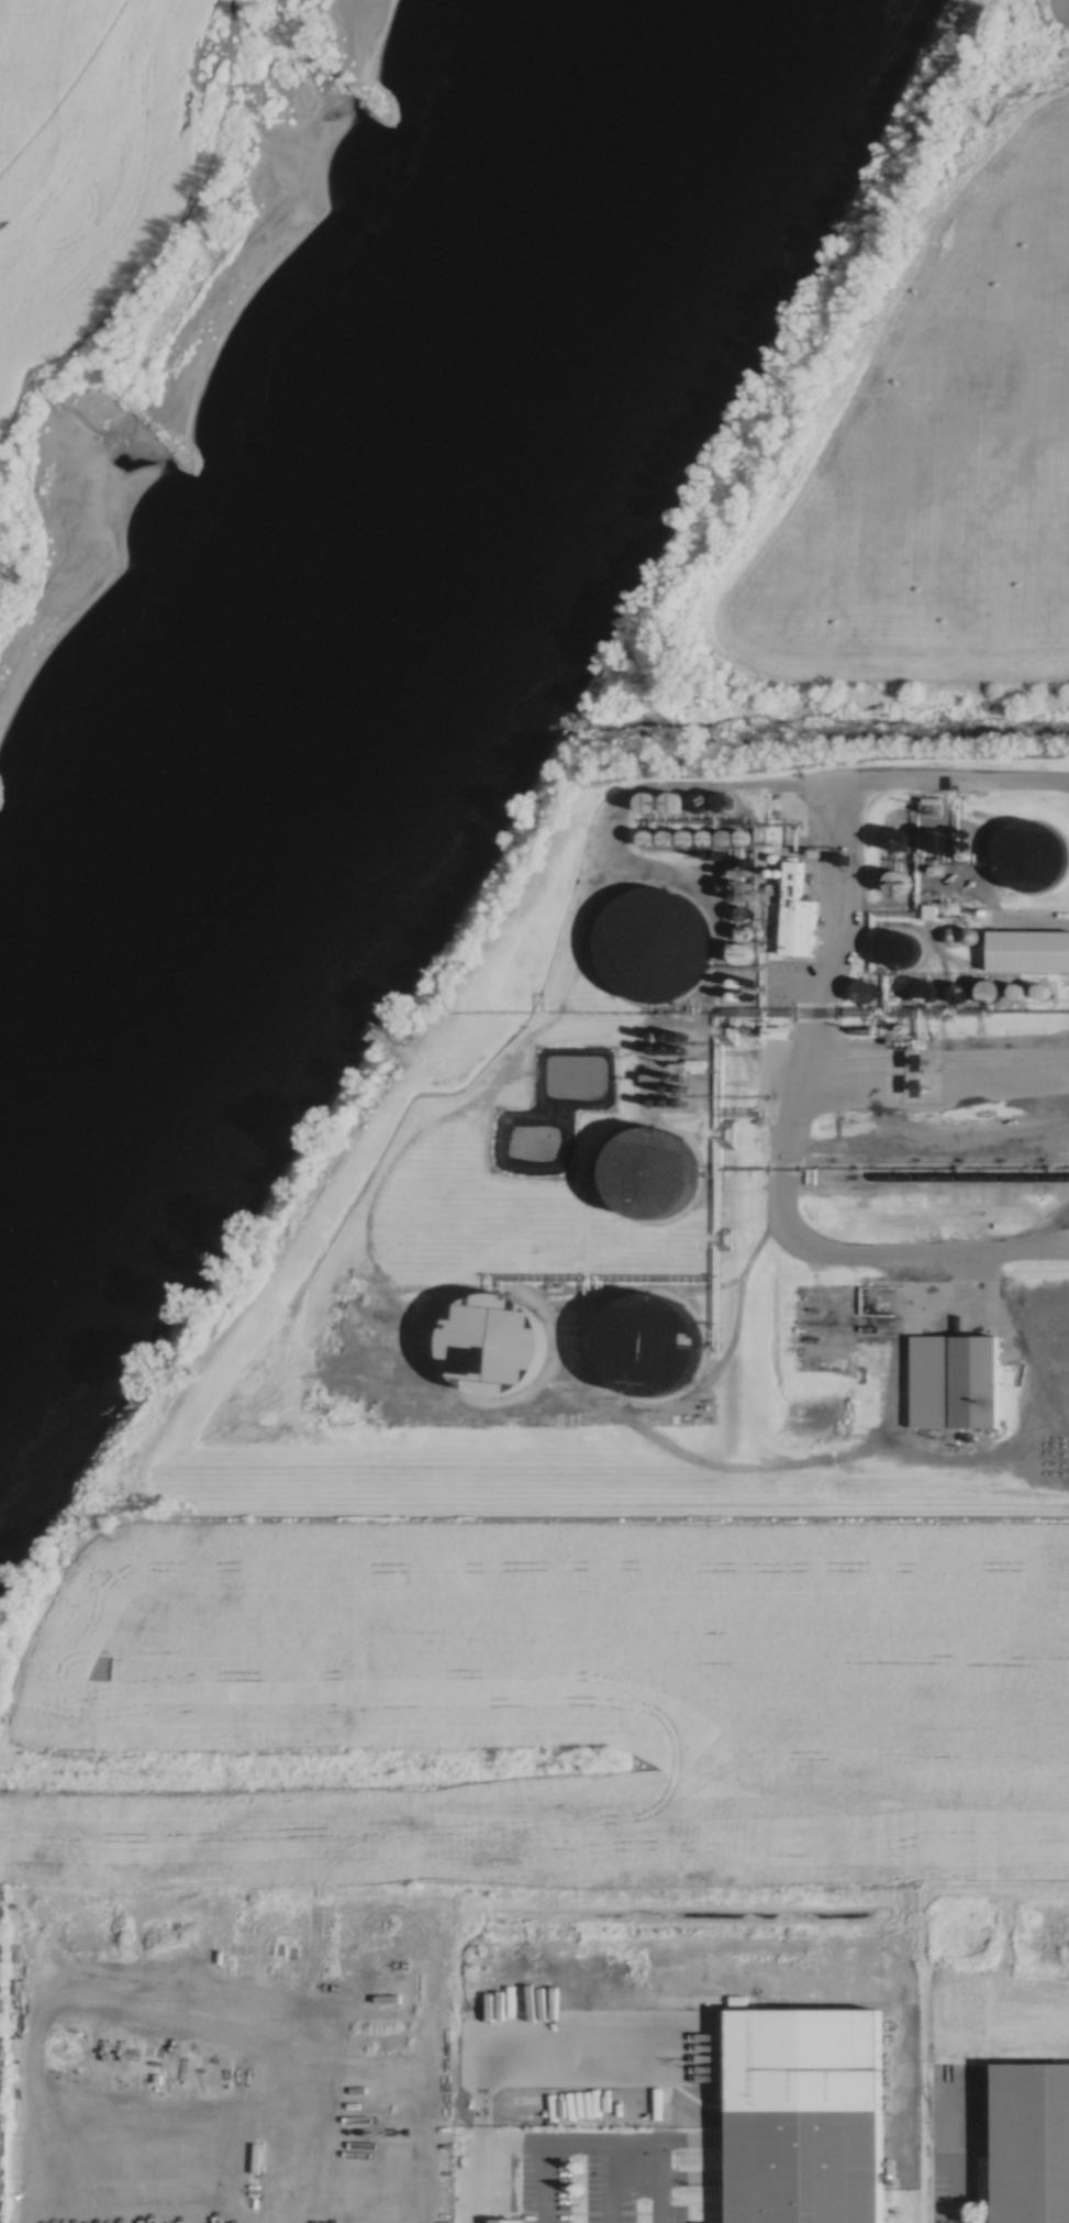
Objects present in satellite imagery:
crop: (41, 95)
river: (357, 598)
building: (1021, 862)
storage tank: (1021, 862)
building: (798, 909)
building: (655, 943)
storage tank: (655, 943)
building: (1029, 950)
building: (1036, 988)
road: (801, 1046)
railway: (936, 1179)
building: (637, 1180)
storage tank: (637, 1180)
building: (725, 1235)
building: (648, 1329)
storage tank: (497, 1343)
storage tank: (652, 1345)
building: (477, 1360)
building: (956, 1381)
building: (812, 2114)
building: (1032, 2143)
road: (656, 2145)
road: (267, 2170)

